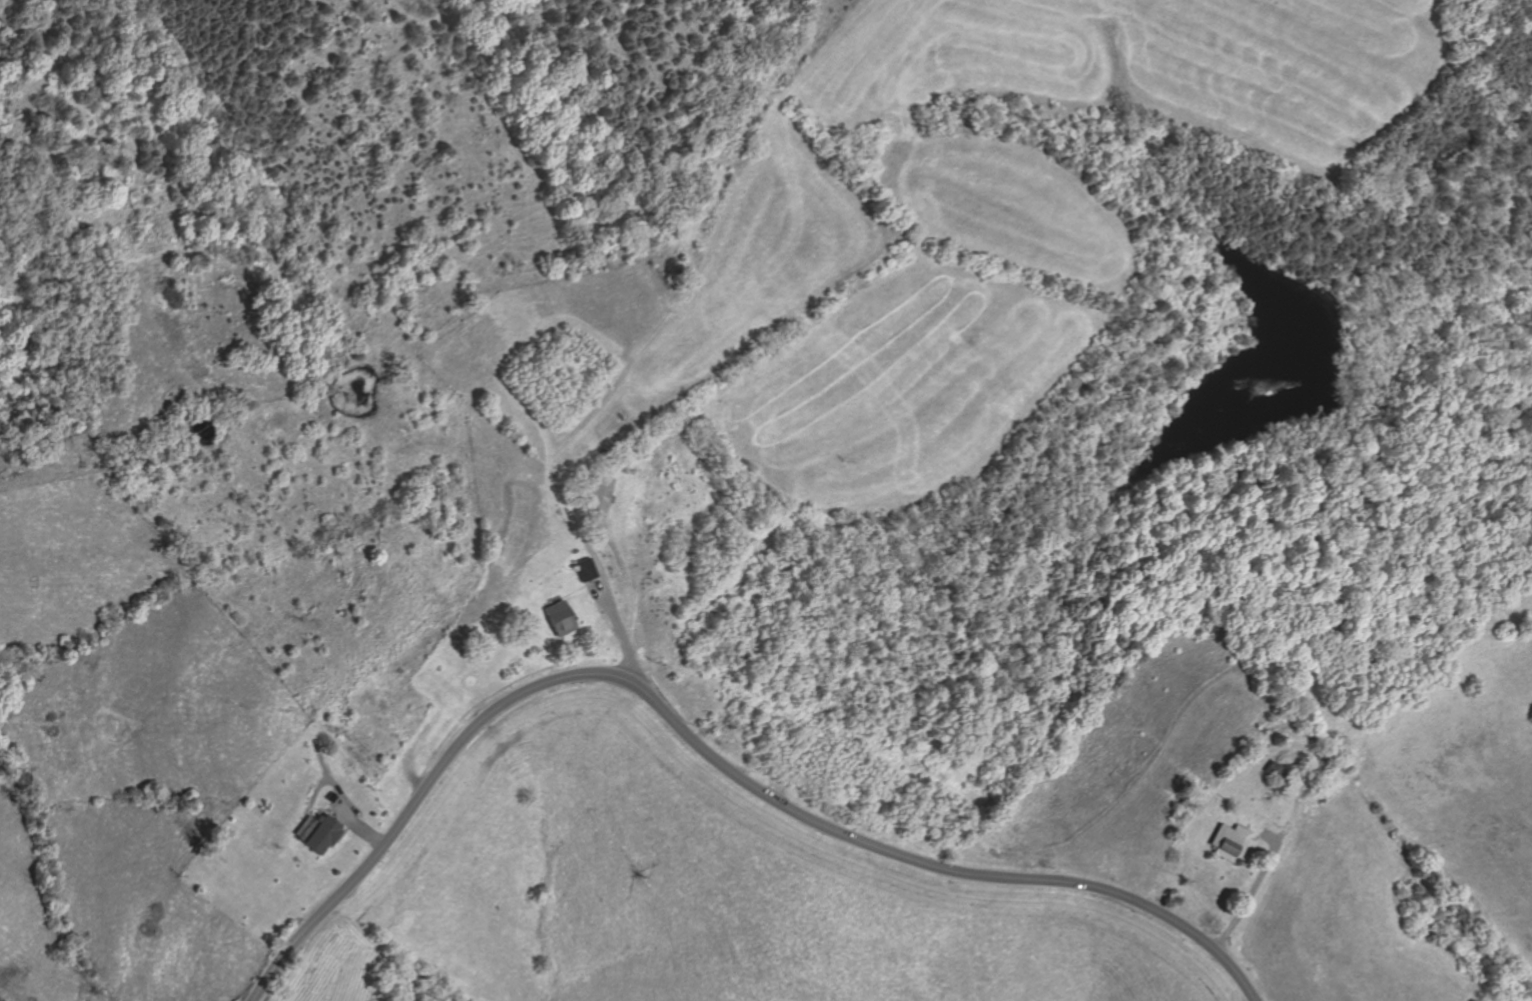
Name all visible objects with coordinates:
building: (595, 494)
building: (580, 569)
road: (621, 586)
road: (594, 593)
road: (603, 593)
building: (555, 618)
road: (357, 746)
road: (700, 749)
road: (321, 764)
building: (1276, 773)
road: (333, 785)
building: (330, 796)
road: (354, 825)
building: (316, 832)
road: (342, 832)
road: (1268, 836)
building: (1229, 842)
road: (1250, 888)

